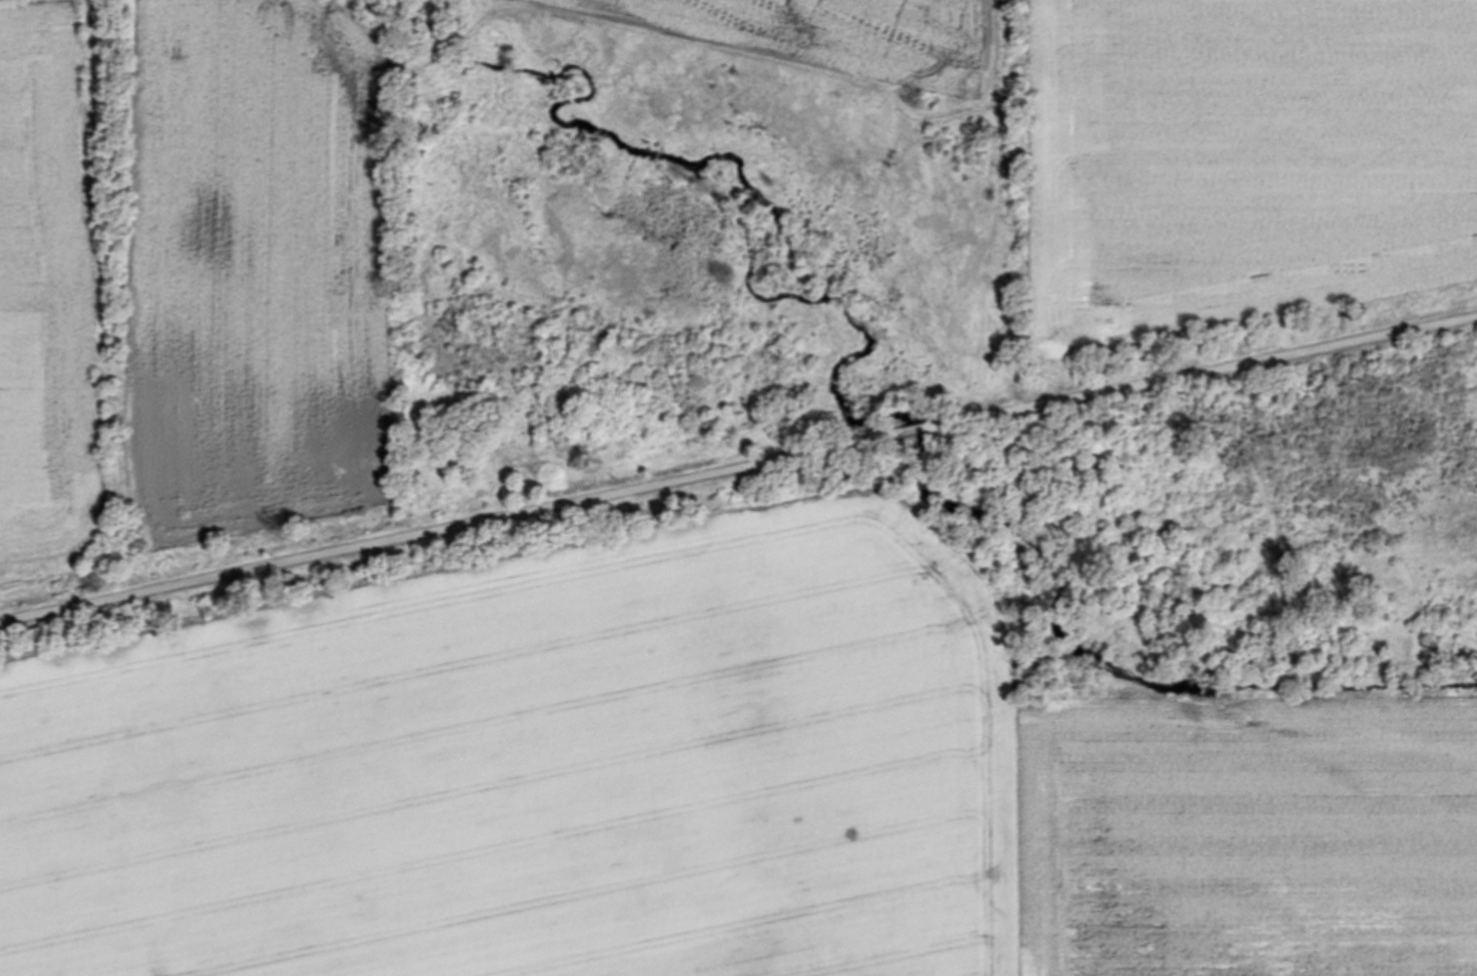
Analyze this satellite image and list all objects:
road: (738, 466)

